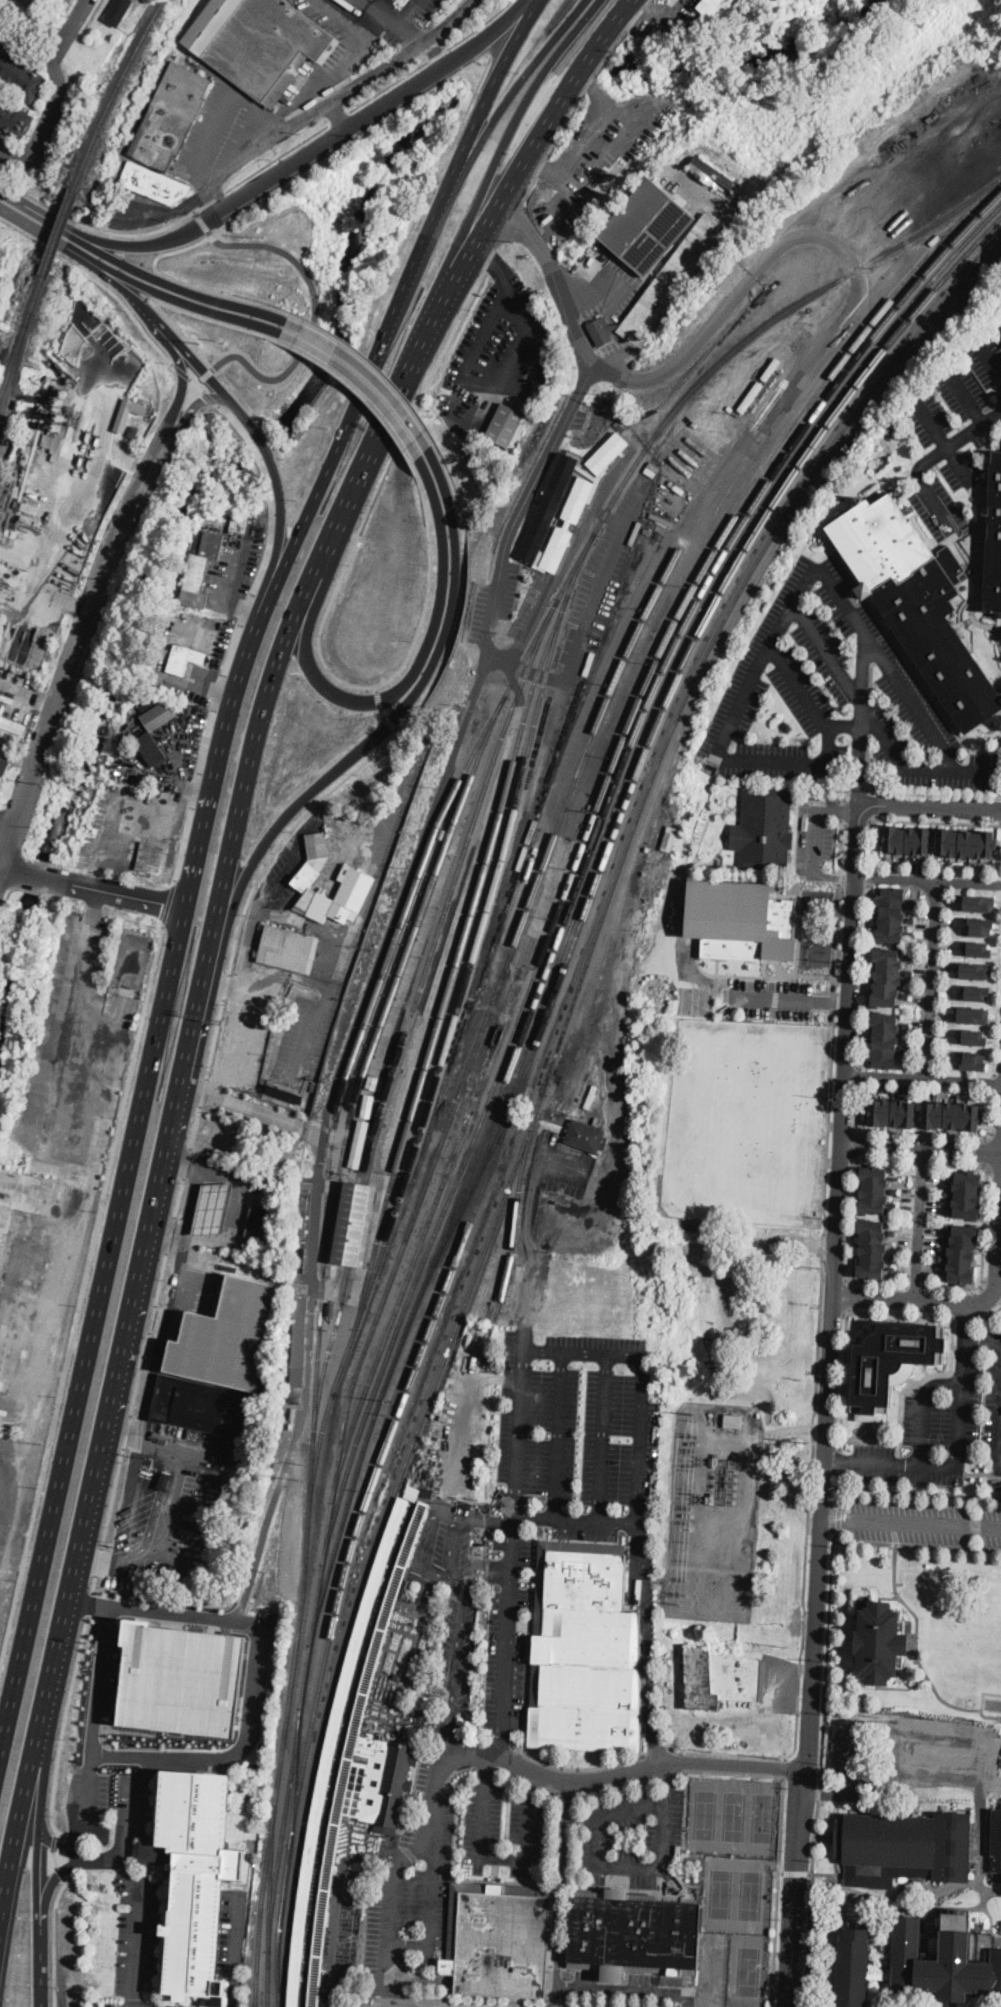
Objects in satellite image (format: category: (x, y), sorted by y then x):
parking lot: (420, 7)
building: (710, 8)
road: (408, 11)
building: (118, 12)
road: (94, 14)
road: (399, 22)
road: (51, 24)
road: (73, 24)
road: (29, 25)
road: (361, 39)
building: (258, 44)
road: (437, 53)
road: (434, 59)
road: (391, 65)
building: (21, 76)
railway: (114, 91)
road: (305, 94)
road: (315, 100)
road: (223, 104)
road: (48, 117)
building: (170, 117)
road: (340, 117)
building: (14, 119)
road: (495, 120)
parking lot: (225, 134)
road: (585, 139)
road: (502, 146)
road: (605, 147)
road: (249, 152)
road: (314, 153)
road: (459, 158)
parking lot: (594, 159)
road: (524, 163)
building: (610, 176)
building: (712, 178)
building: (153, 184)
road: (38, 212)
road: (211, 216)
road: (171, 224)
building: (647, 227)
railway: (59, 233)
road: (47, 234)
road: (696, 268)
road: (110, 277)
road: (96, 279)
road: (186, 282)
road: (179, 287)
building: (655, 287)
road: (184, 301)
road: (143, 305)
road: (173, 305)
road: (316, 312)
road: (523, 316)
building: (86, 317)
building: (1000, 328)
building: (1000, 332)
road: (172, 333)
road: (487, 333)
railway: (21, 338)
road: (382, 344)
road: (694, 346)
building: (544, 355)
parking lot: (491, 356)
road: (368, 360)
road: (991, 362)
road: (365, 368)
road: (737, 372)
road: (204, 376)
road: (183, 377)
road: (354, 379)
road: (350, 382)
building: (541, 383)
road: (195, 384)
railway: (10, 391)
building: (40, 394)
building: (54, 396)
road: (202, 399)
building: (47, 411)
road: (972, 411)
building: (129, 413)
building: (505, 424)
road: (935, 427)
building: (893, 429)
building: (133, 432)
road: (767, 434)
parking lot: (954, 435)
road: (921, 465)
building: (651, 469)
road: (277, 481)
building: (581, 501)
road: (311, 505)
building: (550, 509)
building: (24, 517)
building: (234, 518)
building: (242, 518)
building: (661, 520)
railway: (758, 531)
building: (637, 535)
building: (992, 538)
building: (200, 568)
parking lot: (232, 574)
road: (555, 582)
road: (331, 601)
building: (912, 601)
road: (592, 607)
road: (294, 615)
road: (238, 633)
road: (82, 637)
railway: (679, 654)
building: (184, 659)
road: (411, 674)
road: (870, 681)
road: (863, 684)
building: (165, 691)
parking lot: (19, 693)
road: (378, 696)
parking lot: (831, 697)
road: (28, 698)
road: (404, 705)
building: (1, 706)
road: (381, 712)
road: (924, 715)
road: (868, 716)
road: (390, 724)
building: (12, 726)
road: (852, 726)
road: (457, 743)
building: (153, 749)
road: (895, 752)
road: (867, 761)
road: (737, 762)
road: (859, 765)
building: (3, 769)
railway: (466, 771)
road: (871, 804)
road: (929, 807)
road: (910, 818)
road: (857, 819)
road: (8, 821)
building: (765, 826)
parking lot: (813, 832)
road: (813, 838)
building: (907, 838)
building: (664, 840)
building: (966, 841)
road: (841, 844)
building: (149, 856)
railway: (576, 864)
road: (840, 875)
road: (871, 876)
building: (356, 879)
road: (798, 879)
road: (927, 880)
road: (854, 882)
road: (90, 887)
road: (274, 888)
railway: (577, 893)
building: (891, 896)
railway: (451, 898)
building: (841, 900)
building: (980, 901)
road: (169, 902)
building: (734, 918)
building: (892, 924)
building: (981, 925)
railway: (469, 927)
building: (630, 935)
road: (836, 937)
building: (638, 939)
building: (980, 947)
building: (288, 949)
building: (975, 968)
road: (715, 974)
road: (229, 975)
road: (864, 975)
road: (765, 976)
building: (887, 976)
railway: (398, 979)
road: (930, 979)
building: (976, 991)
road: (766, 996)
parking lot: (769, 996)
park: (696, 1000)
road: (828, 1000)
road: (996, 1000)
road: (833, 1001)
building: (973, 1013)
park: (741, 1023)
building: (974, 1035)
parking lot: (310, 1036)
building: (885, 1040)
railway: (443, 1052)
building: (972, 1060)
railway: (469, 1067)
road: (859, 1075)
road: (923, 1077)
road: (992, 1080)
building: (372, 1083)
railway: (547, 1083)
building: (287, 1095)
building: (590, 1095)
building: (367, 1106)
road: (857, 1107)
road: (251, 1108)
building: (891, 1110)
building: (951, 1114)
building: (597, 1121)
road: (828, 1122)
road: (842, 1124)
road: (948, 1134)
road: (84, 1135)
road: (995, 1136)
building: (585, 1137)
road: (858, 1143)
building: (359, 1145)
road: (921, 1148)
road: (988, 1149)
road: (886, 1160)
road: (841, 1161)
road: (922, 1162)
parking lot: (559, 1164)
road: (957, 1164)
road: (994, 1171)
railway: (481, 1172)
building: (269, 1187)
building: (873, 1189)
building: (966, 1195)
road: (118, 1198)
road: (192, 1198)
railway: (436, 1207)
building: (213, 1208)
railway: (517, 1211)
building: (303, 1217)
road: (852, 1219)
building: (260, 1224)
building: (352, 1224)
road: (917, 1224)
railway: (358, 1225)
road: (823, 1246)
road: (533, 1251)
building: (871, 1251)
building: (962, 1255)
road: (984, 1257)
railway: (332, 1260)
building: (299, 1261)
road: (142, 1264)
road: (835, 1277)
road: (878, 1282)
road: (914, 1284)
road: (991, 1294)
road: (848, 1297)
road: (81, 1298)
road: (958, 1303)
building: (332, 1306)
road: (832, 1312)
road: (989, 1313)
road: (963, 1314)
road: (856, 1319)
road: (965, 1321)
road: (163, 1332)
building: (300, 1333)
building: (227, 1337)
railway: (332, 1344)
road: (310, 1350)
railway: (423, 1350)
road: (584, 1351)
building: (892, 1361)
road: (900, 1399)
road: (827, 1405)
road: (922, 1407)
building: (210, 1414)
parking lot: (946, 1419)
building: (733, 1421)
road: (123, 1429)
parking lot: (579, 1433)
road: (520, 1435)
road: (558, 1435)
road: (958, 1435)
road: (603, 1438)
road: (640, 1439)
road: (840, 1444)
road: (899, 1447)
road: (839, 1458)
road: (839, 1460)
road: (4, 1468)
road: (836, 1489)
building: (412, 1492)
road: (810, 1507)
power substation: (715, 1509)
parking lot: (923, 1510)
road: (165, 1515)
road: (839, 1518)
road: (487, 1521)
road: (575, 1521)
road: (911, 1525)
parking lot: (925, 1537)
road: (423, 1544)
road: (917, 1544)
building: (406, 1588)
road: (247, 1590)
road: (88, 1603)
parking lot: (456, 1606)
road: (454, 1615)
road: (509, 1627)
parking lot: (509, 1632)
building: (876, 1642)
road: (647, 1645)
building: (584, 1650)
building: (429, 1657)
building: (432, 1677)
building: (721, 1678)
building: (180, 1679)
road: (255, 1683)
road: (782, 1683)
building: (417, 1686)
road: (993, 1694)
road: (995, 1704)
road: (96, 1713)
road: (63, 1726)
road: (900, 1731)
road: (447, 1734)
road: (944, 1743)
road: (502, 1745)
railway: (297, 1746)
road: (980, 1746)
building: (336, 1750)
road: (657, 1752)
road: (731, 1753)
parking lot: (911, 1754)
road: (806, 1756)
road: (28, 1762)
building: (367, 1762)
road: (819, 1767)
road: (485, 1768)
road: (570, 1769)
road: (504, 1772)
road: (623, 1774)
road: (733, 1774)
road: (666, 1775)
road: (532, 1781)
railway: (279, 1784)
road: (530, 1786)
road: (607, 1789)
parking lot: (89, 1795)
road: (824, 1796)
road: (458, 1814)
railway: (283, 1828)
parking lot: (504, 1830)
road: (36, 1835)
road: (54, 1843)
building: (995, 1844)
road: (57, 1846)
building: (903, 1849)
road: (499, 1855)
road: (54, 1857)
road: (98, 1860)
road: (60, 1870)
road: (795, 1872)
railway: (270, 1875)
road: (396, 1875)
road: (130, 1878)
building: (195, 1878)
road: (51, 1884)
parking lot: (412, 1884)
road: (555, 1886)
railway: (285, 1888)
road: (779, 1891)
road: (432, 1894)
parking lot: (233, 1933)
parking lot: (138, 1934)
road: (53, 1939)
building: (500, 1940)
road: (236, 1952)
building: (922, 1962)
railway: (268, 1967)
railway: (279, 1981)
road: (470, 1995)
road: (557, 2000)
parking lot: (144, 2002)
parking lot: (465, 2003)
road: (618, 2004)

